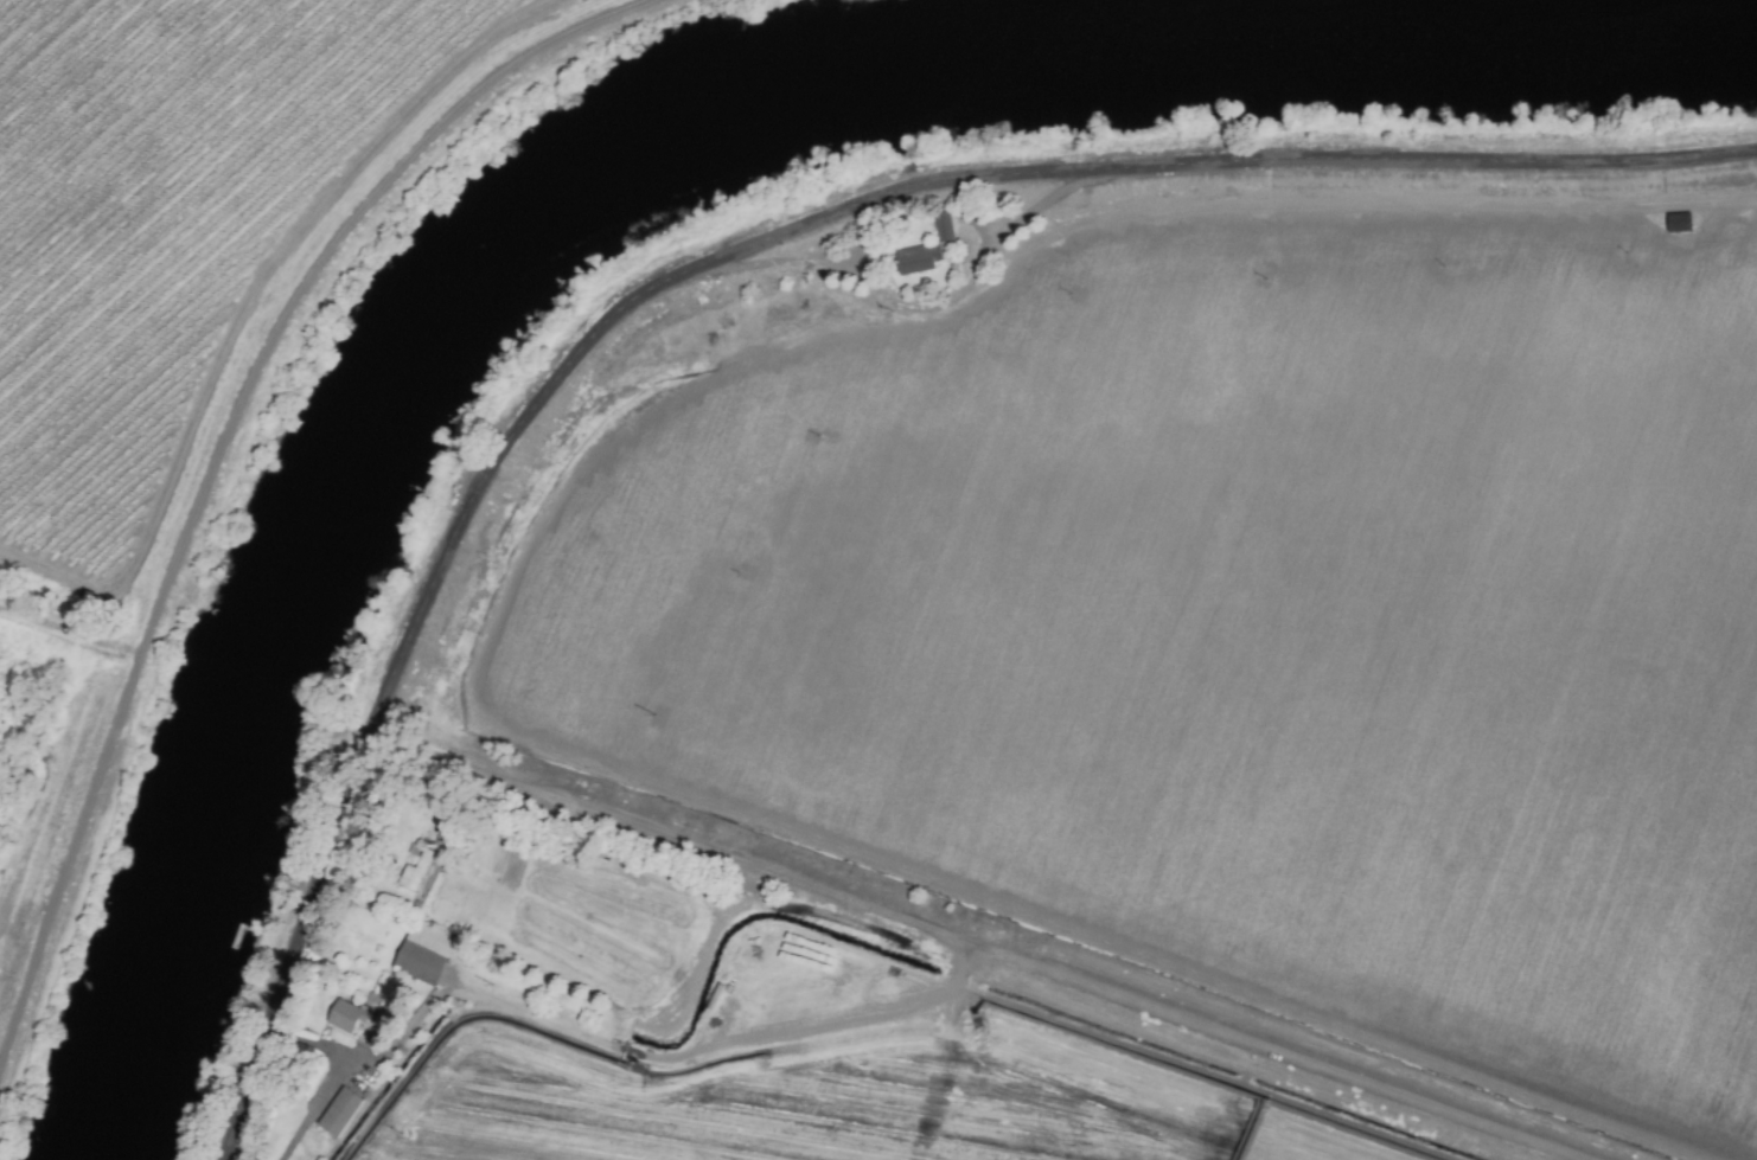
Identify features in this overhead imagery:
building: (940, 227)
building: (918, 258)
road: (715, 259)
crop: (197, 297)
road: (921, 307)
road: (219, 444)
crop: (1101, 710)
building: (411, 876)
building: (424, 953)
building: (346, 1017)
road: (334, 1077)
building: (339, 1113)

